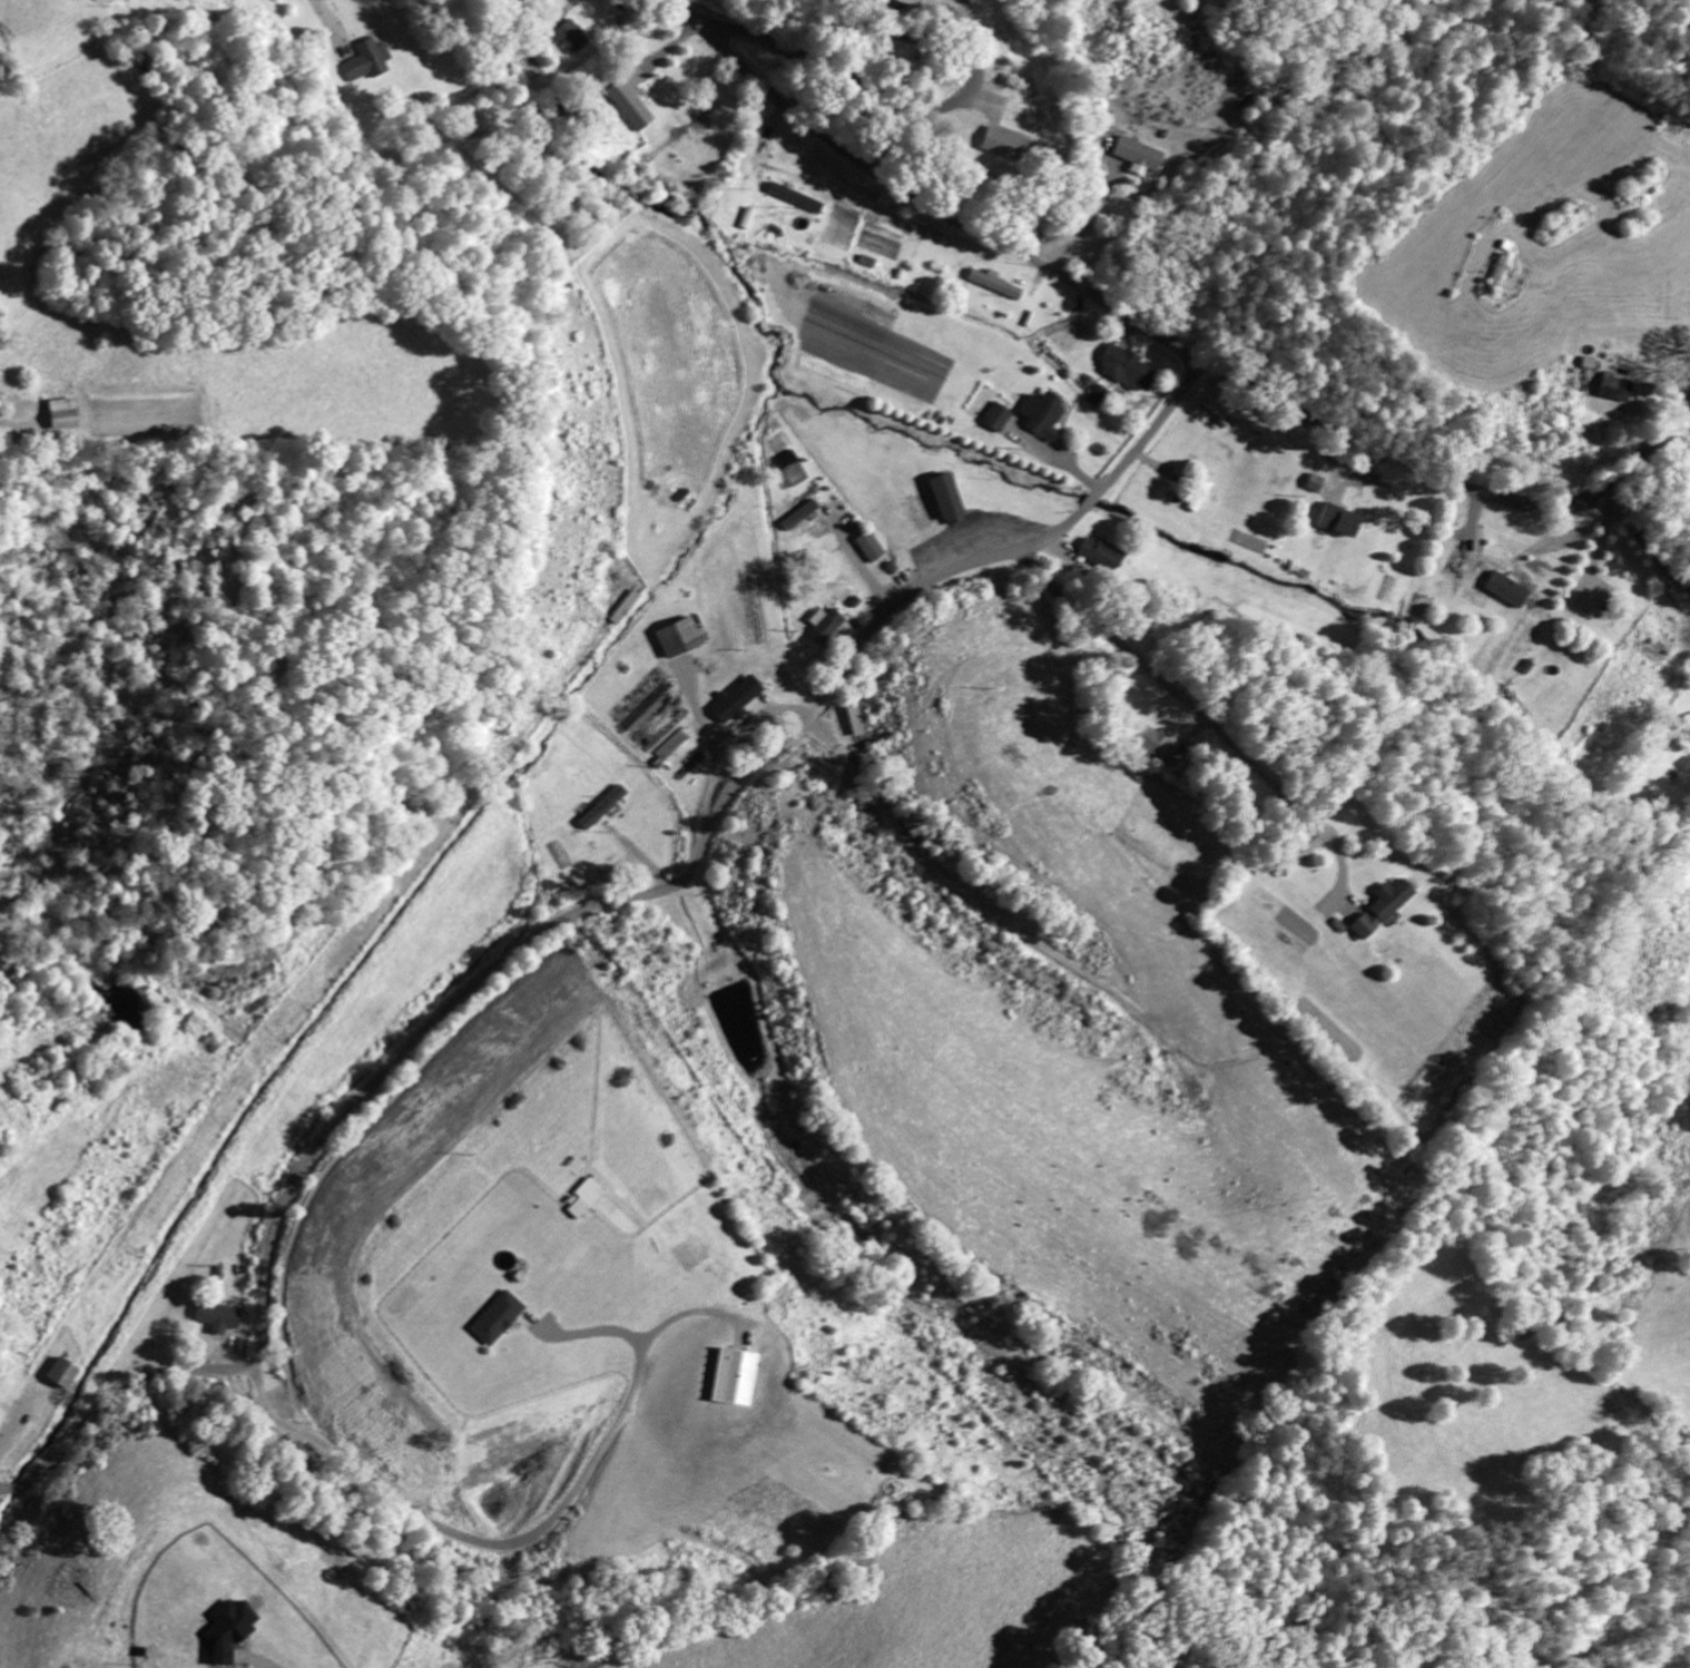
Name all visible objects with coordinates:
building: (570, 37)
building: (366, 60)
road: (875, 81)
building: (629, 105)
building: (1002, 144)
building: (1137, 155)
road: (1170, 343)
building: (1126, 367)
building: (1615, 386)
building: (61, 411)
building: (1042, 413)
building: (1000, 415)
building: (946, 497)
building: (1337, 519)
road: (1640, 539)
building: (1101, 551)
building: (825, 622)
building: (680, 635)
road: (1151, 673)
building: (736, 697)
building: (1153, 742)
building: (675, 749)
building: (602, 805)
building: (1306, 844)
building: (1383, 905)
road: (570, 914)
building: (578, 1207)
building: (218, 1316)
building: (497, 1316)
building: (62, 1372)
building: (733, 1376)
building: (282, 1399)
building: (227, 1630)

